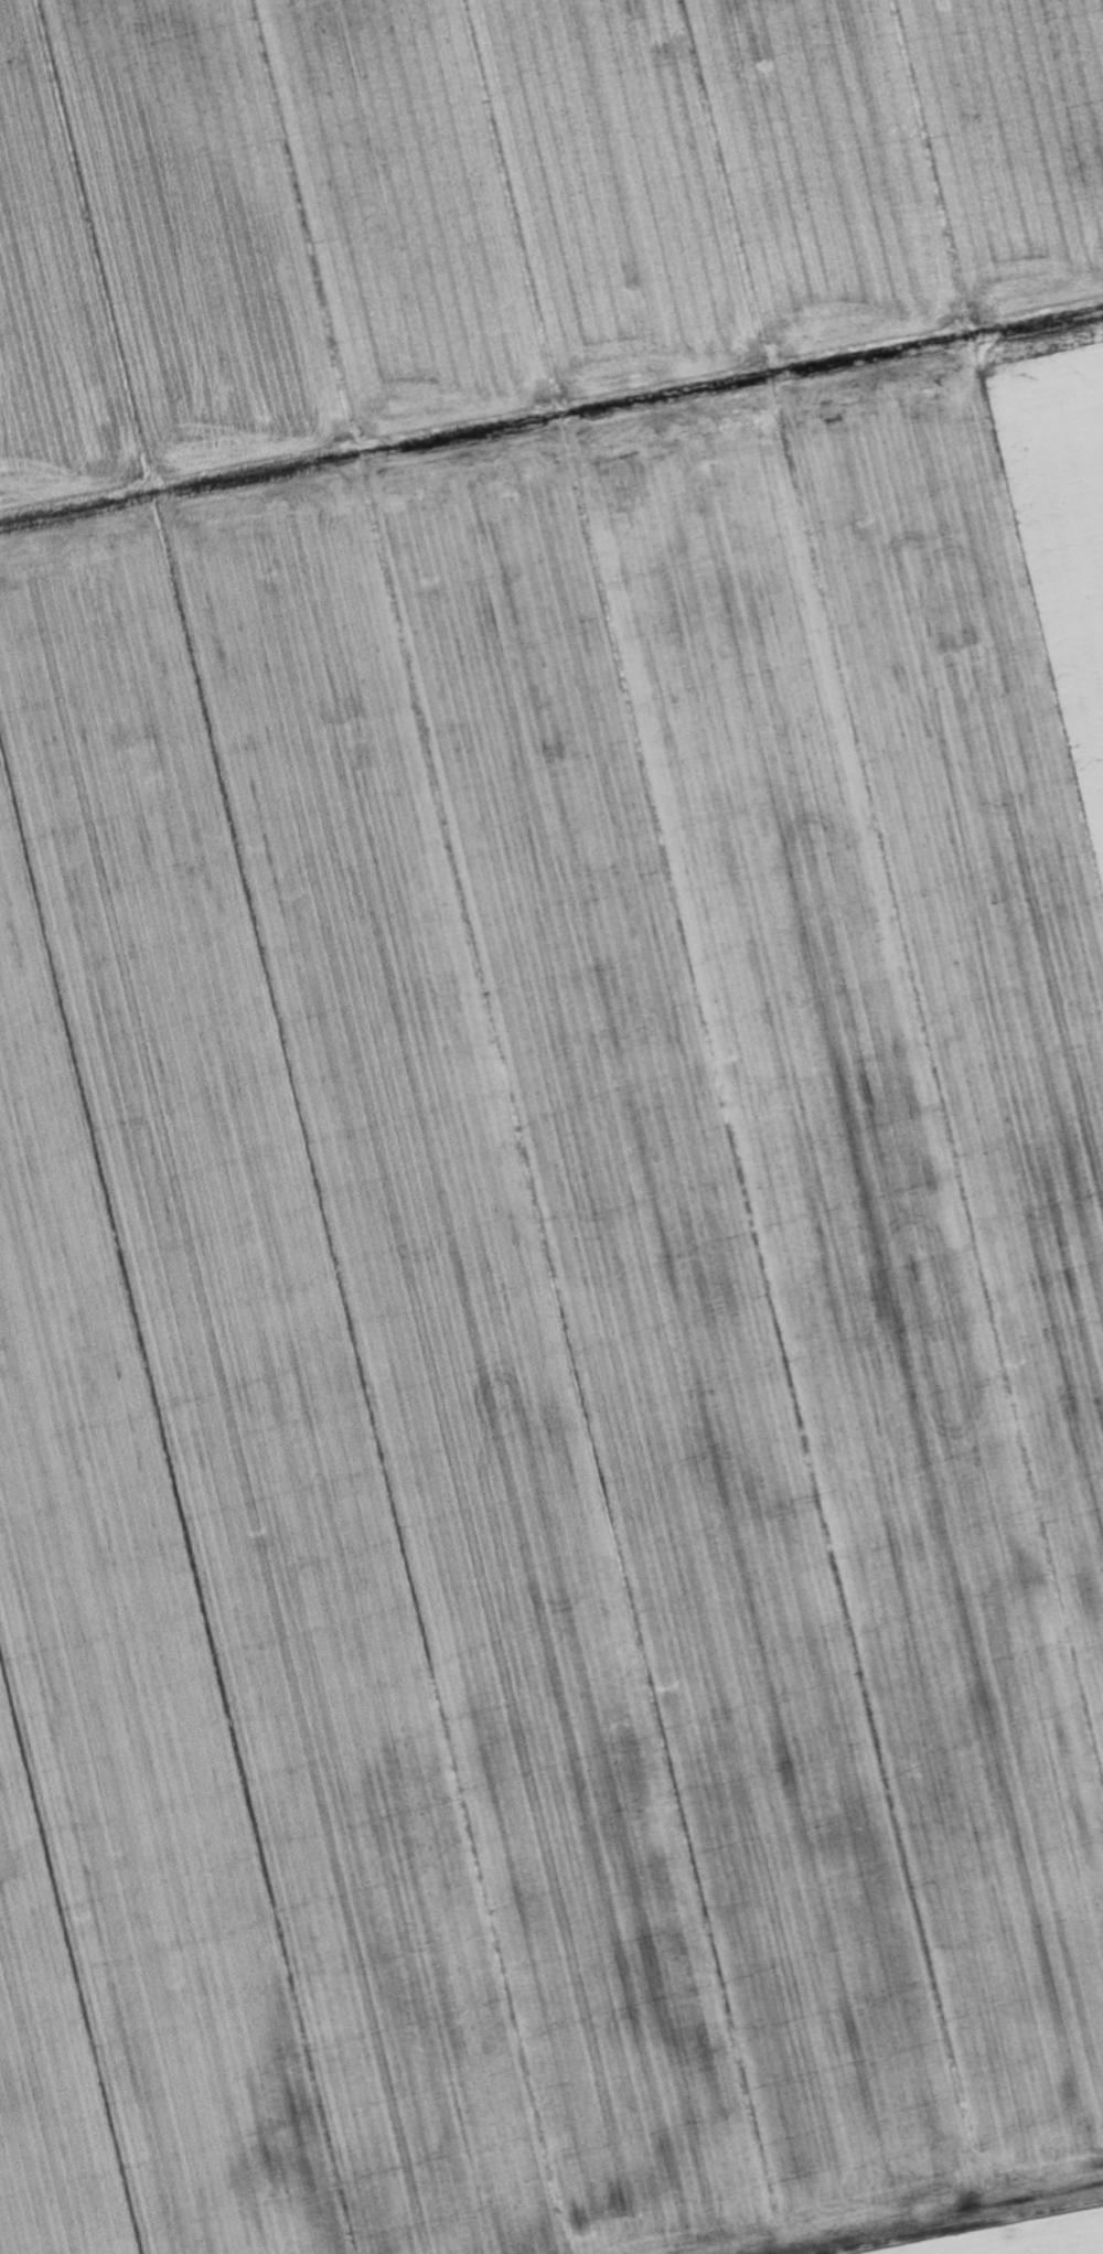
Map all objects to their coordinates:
crop: (502, 206)
crop: (558, 1333)

